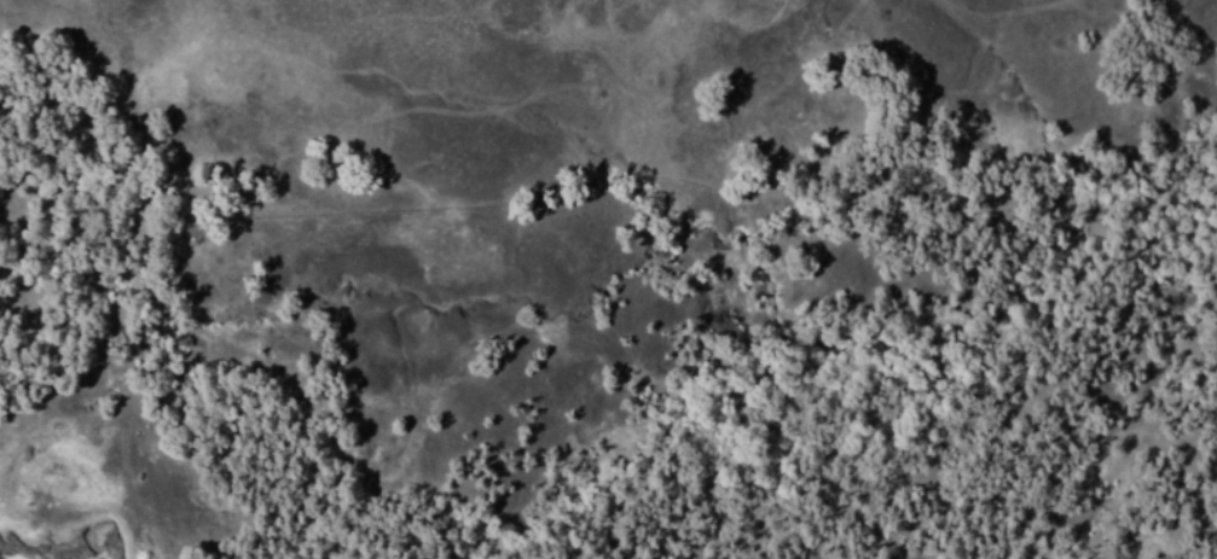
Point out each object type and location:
road: (87, 513)

